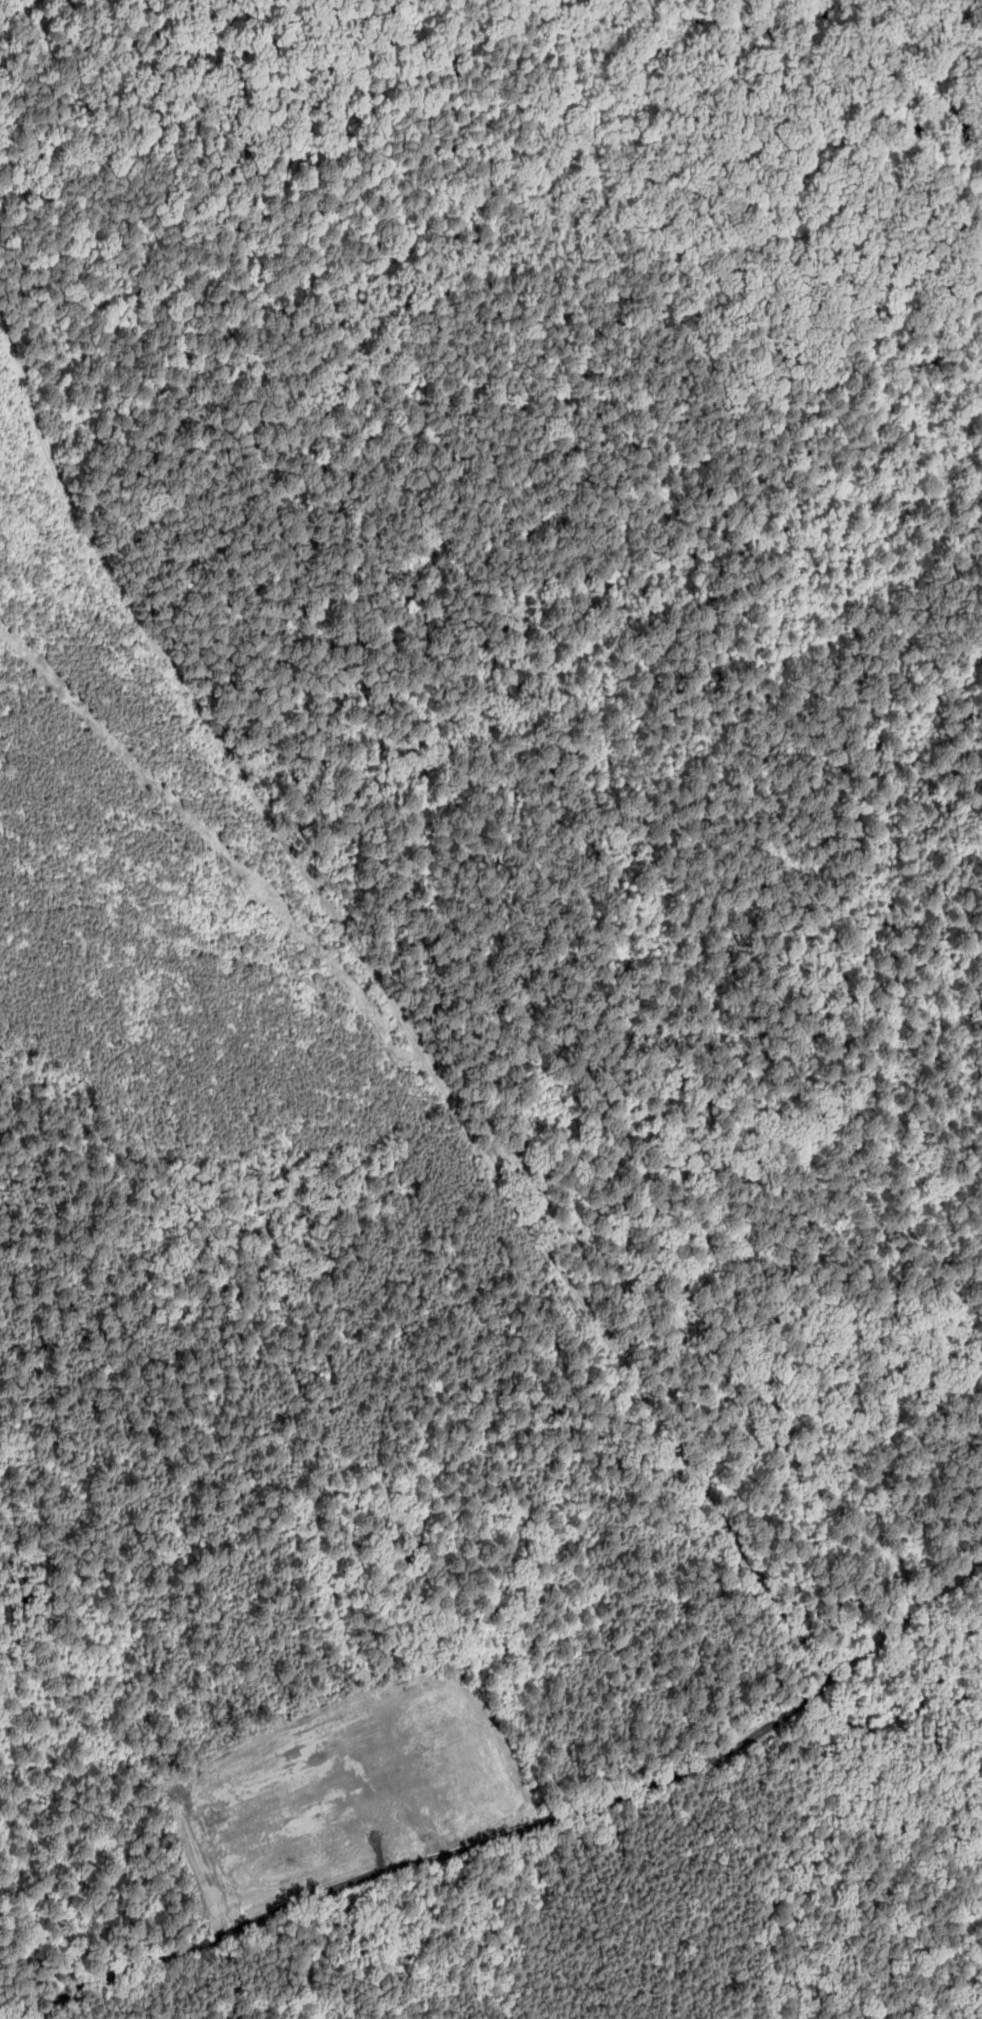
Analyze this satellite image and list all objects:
road: (399, 1007)
road: (525, 1831)

